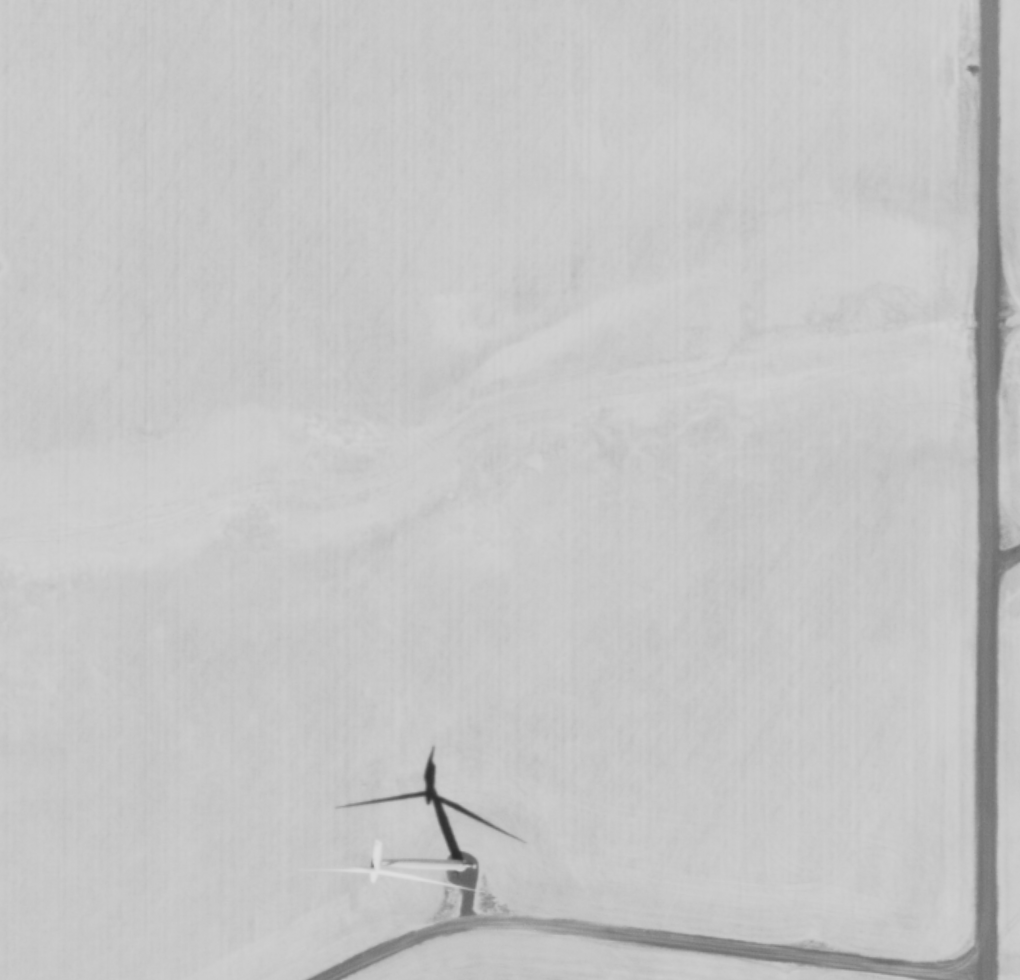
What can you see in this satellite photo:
road: (981, 490)
road: (1001, 543)
wind turbine: (455, 882)
road: (633, 925)

